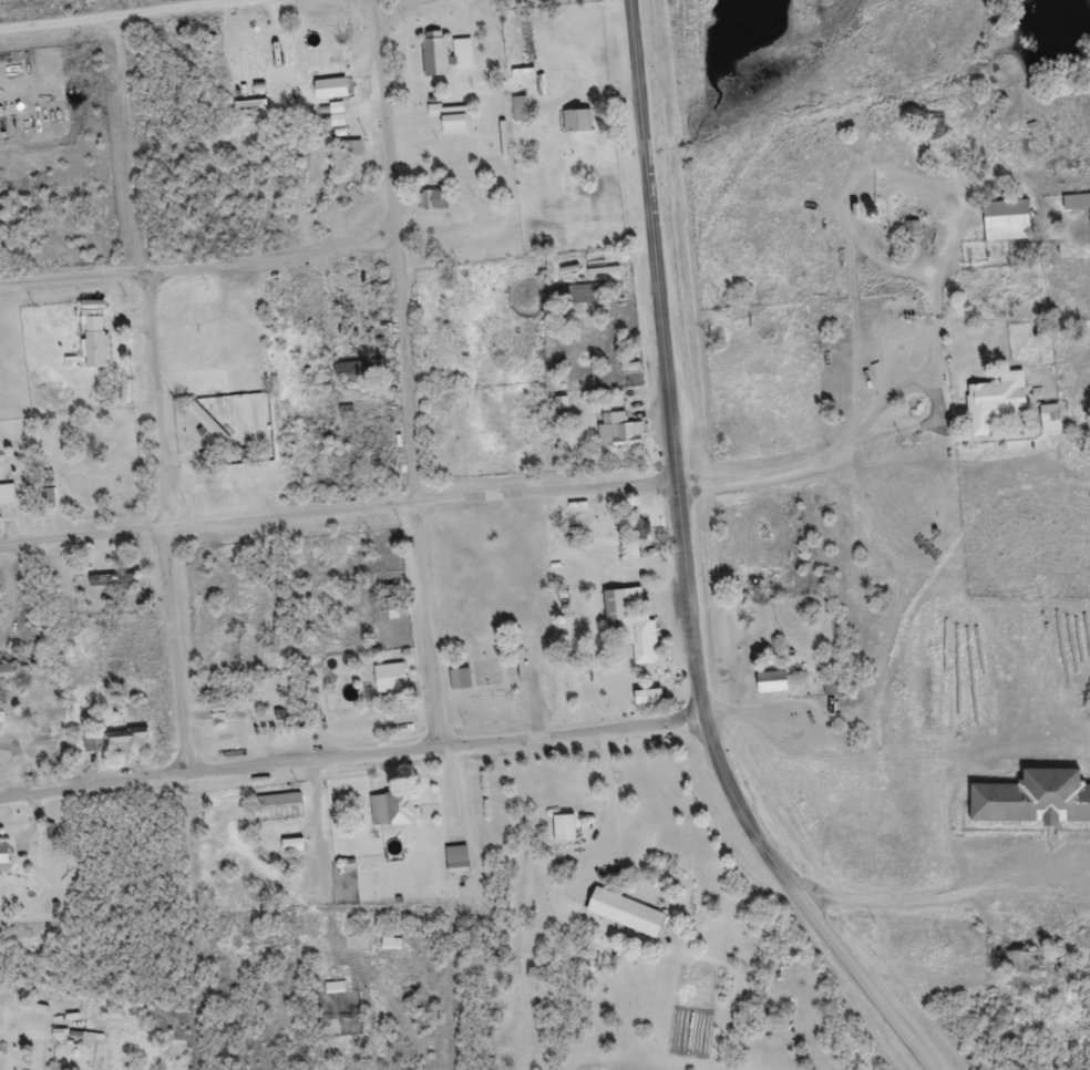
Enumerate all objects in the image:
road: (123, 16)
building: (442, 63)
building: (328, 96)
building: (517, 117)
building: (335, 122)
building: (446, 126)
building: (574, 128)
road: (127, 146)
building: (352, 155)
building: (430, 208)
building: (1004, 228)
building: (909, 237)
road: (202, 271)
building: (91, 343)
road: (934, 369)
road: (414, 375)
building: (349, 380)
building: (993, 410)
building: (559, 415)
road: (872, 415)
building: (1048, 426)
building: (207, 433)
building: (617, 439)
building: (6, 502)
road: (337, 513)
road: (174, 524)
building: (627, 560)
road: (685, 569)
building: (630, 632)
building: (6, 680)
building: (388, 686)
building: (457, 687)
building: (769, 690)
building: (646, 704)
building: (401, 726)
building: (122, 749)
building: (89, 753)
road: (351, 759)
building: (1031, 805)
building: (277, 809)
building: (390, 817)
building: (562, 836)
building: (289, 853)
building: (2, 866)
building: (454, 868)
road: (945, 898)
building: (624, 920)
building: (353, 950)
building: (1017, 969)
building: (332, 996)
building: (86, 1048)

